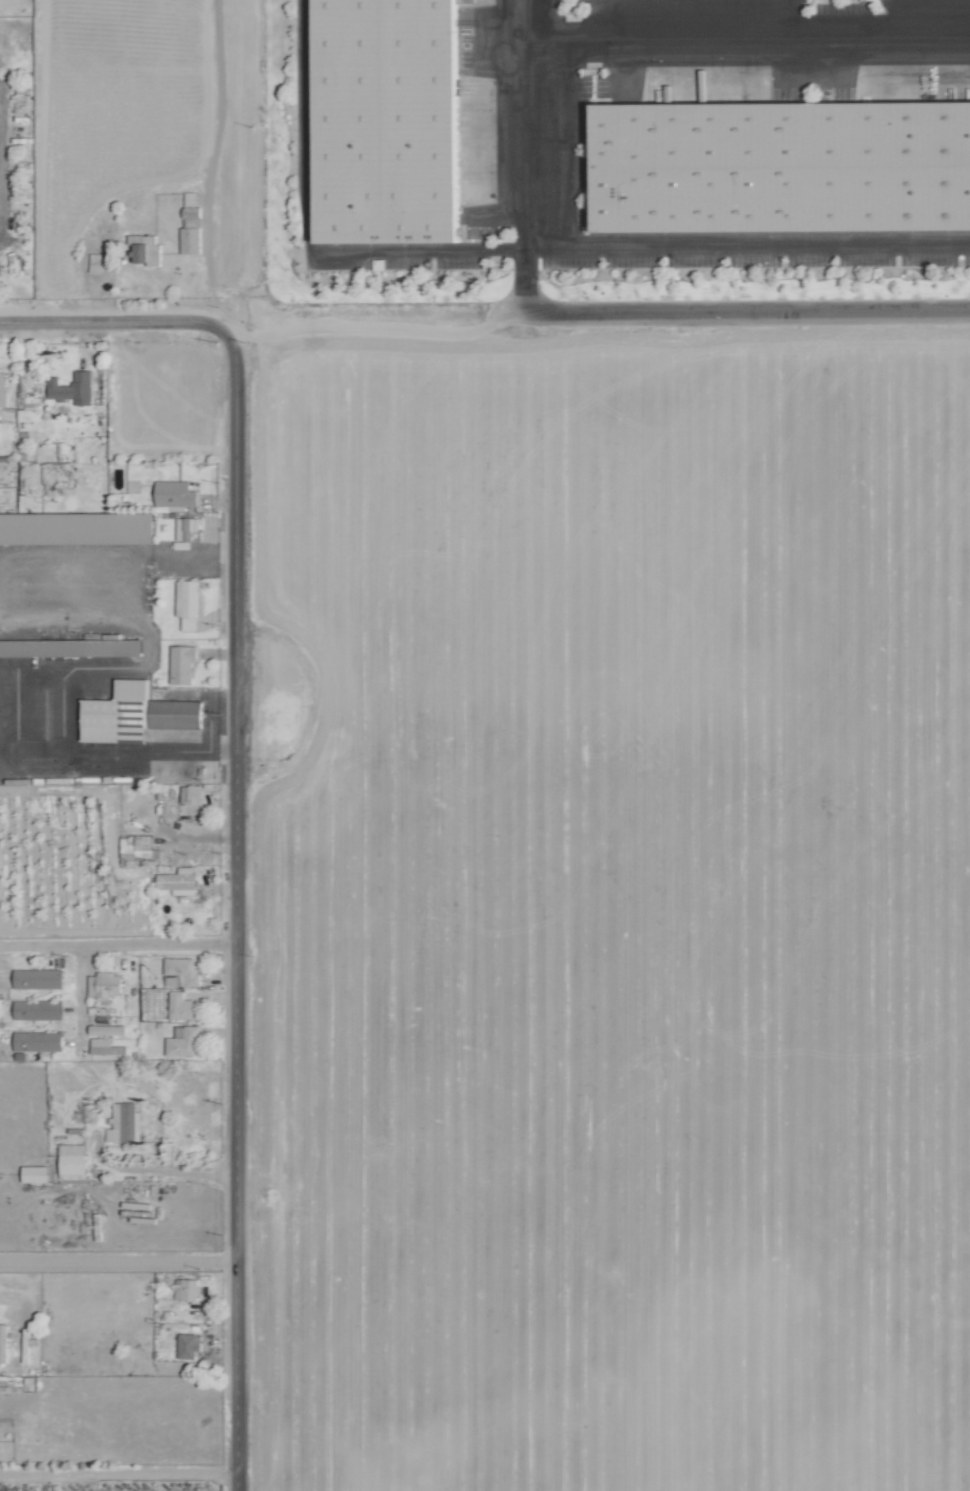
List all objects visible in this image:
road: (895, 19)
road: (785, 21)
road: (520, 25)
road: (745, 43)
building: (385, 121)
road: (192, 161)
building: (781, 167)
road: (304, 232)
building: (189, 241)
road: (746, 247)
building: (143, 250)
building: (95, 262)
road: (621, 306)
road: (116, 324)
building: (71, 388)
building: (2, 389)
building: (174, 493)
building: (76, 527)
building: (186, 527)
building: (187, 603)
building: (72, 647)
building: (181, 663)
building: (117, 713)
building: (175, 713)
building: (190, 794)
building: (177, 881)
crop: (625, 904)
road: (231, 915)
road: (115, 943)
building: (182, 970)
building: (36, 978)
building: (106, 983)
road: (76, 994)
building: (181, 1006)
building: (36, 1010)
building: (106, 1029)
building: (36, 1041)
building: (182, 1042)
building: (104, 1047)
building: (124, 1124)
building: (71, 1162)
road: (161, 1172)
building: (34, 1174)
road: (116, 1263)
building: (186, 1290)
building: (187, 1345)
road: (117, 1473)

